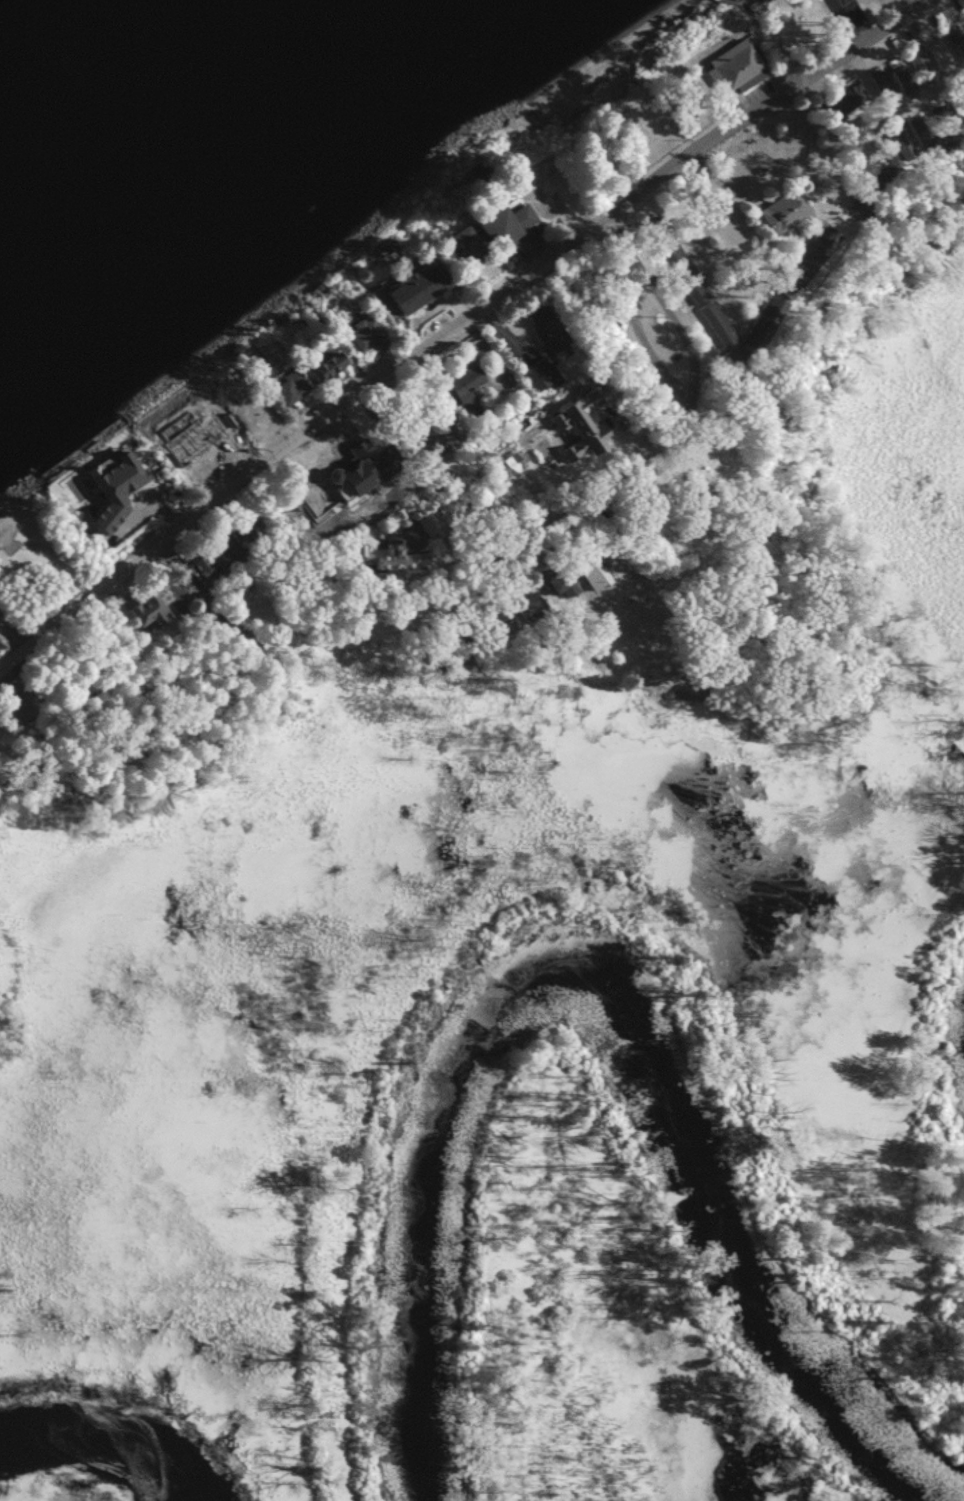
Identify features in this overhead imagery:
building: (716, 63)
building: (775, 211)
building: (487, 224)
building: (819, 236)
building: (667, 257)
building: (397, 287)
road: (418, 309)
building: (708, 323)
building: (347, 332)
road: (453, 332)
road: (625, 332)
building: (538, 346)
building: (308, 364)
road: (682, 385)
building: (274, 386)
building: (461, 389)
building: (191, 443)
building: (702, 461)
building: (499, 464)
building: (308, 481)
building: (221, 549)
building: (374, 556)
building: (581, 564)
road: (473, 577)
building: (550, 585)
building: (173, 588)
building: (524, 605)
building: (140, 611)
river: (106, 1439)

